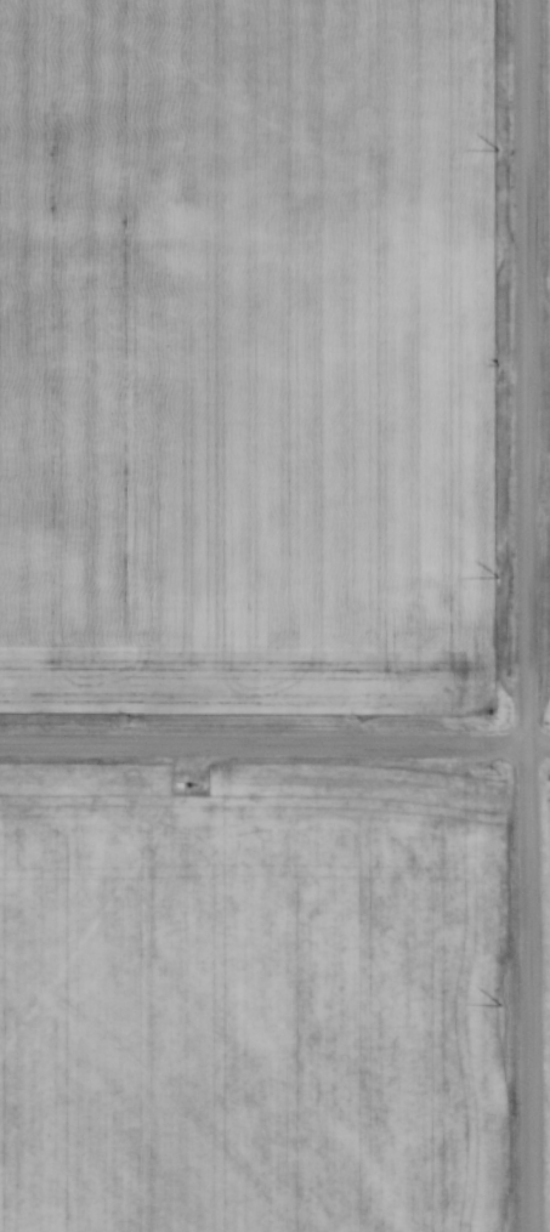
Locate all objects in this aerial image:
road: (529, 615)
road: (274, 746)

